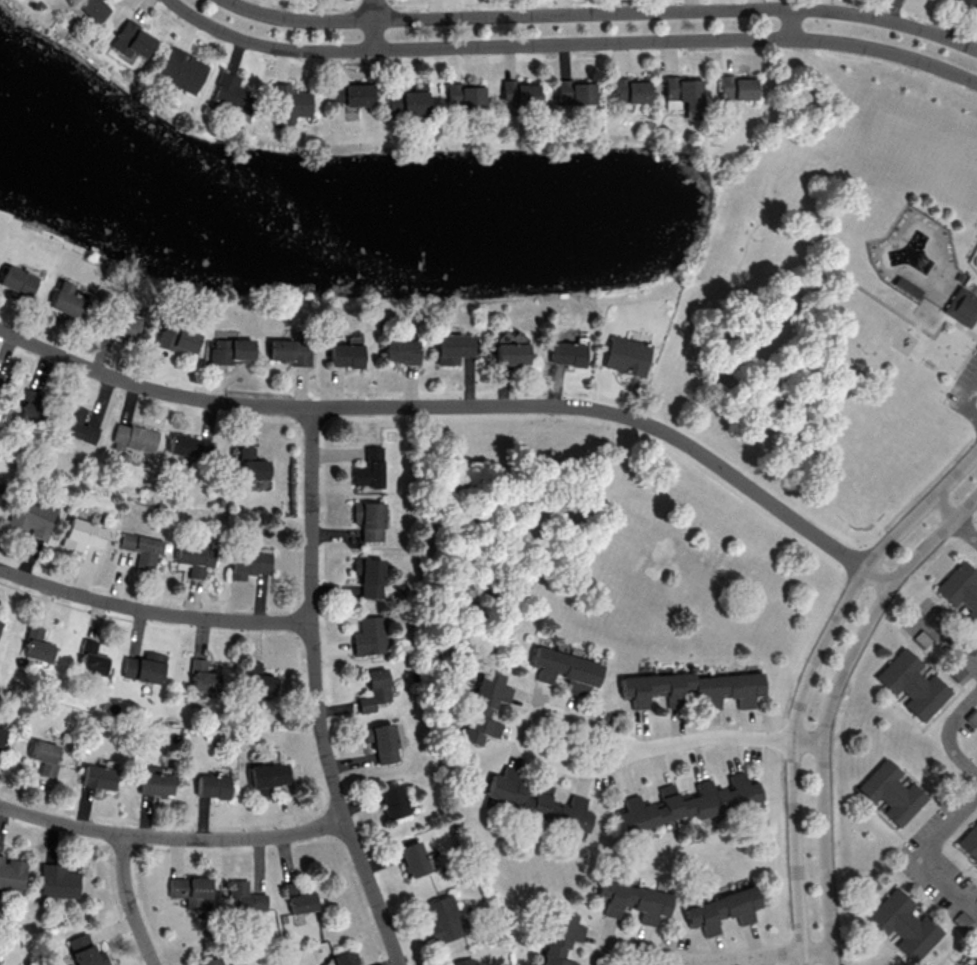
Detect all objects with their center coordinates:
building: (965, 4)
building: (93, 9)
road: (602, 12)
road: (791, 21)
road: (375, 24)
building: (132, 39)
road: (572, 42)
building: (181, 69)
building: (735, 87)
building: (629, 90)
building: (573, 91)
building: (683, 91)
building: (519, 93)
building: (231, 94)
building: (351, 94)
building: (464, 94)
building: (408, 100)
building: (290, 102)
building: (17, 282)
parking lot: (975, 286)
road: (705, 300)
building: (67, 302)
park: (839, 302)
building: (963, 310)
road: (914, 323)
building: (120, 325)
building: (176, 339)
building: (455, 347)
building: (402, 351)
building: (229, 352)
building: (289, 353)
building: (567, 353)
building: (511, 355)
building: (345, 356)
building: (626, 356)
building: (1, 375)
parking lot: (963, 388)
road: (969, 402)
road: (463, 406)
building: (30, 410)
building: (76, 425)
building: (133, 439)
building: (195, 448)
building: (252, 464)
building: (370, 468)
building: (0, 490)
park: (861, 490)
building: (33, 519)
building: (369, 520)
road: (954, 520)
building: (82, 536)
building: (141, 550)
building: (196, 558)
building: (249, 563)
building: (370, 575)
building: (960, 591)
road: (153, 610)
building: (0, 622)
building: (370, 635)
building: (37, 644)
road: (951, 646)
building: (144, 667)
building: (564, 668)
building: (204, 675)
building: (258, 679)
road: (807, 679)
building: (910, 685)
building: (699, 688)
building: (375, 690)
road: (315, 693)
road: (829, 704)
building: (485, 706)
building: (1, 734)
road: (952, 735)
road: (519, 736)
road: (725, 736)
building: (382, 741)
building: (0, 749)
building: (43, 757)
building: (99, 776)
building: (267, 777)
building: (154, 782)
building: (506, 785)
building: (212, 787)
building: (889, 793)
building: (720, 796)
building: (392, 800)
building: (560, 809)
building: (649, 809)
road: (171, 837)
building: (969, 843)
road: (923, 854)
building: (413, 858)
building: (12, 873)
building: (58, 881)
building: (188, 891)
building: (614, 896)
building: (299, 898)
road: (130, 901)
building: (651, 903)
building: (722, 910)
building: (442, 919)
building: (903, 925)
building: (561, 937)
road: (637, 943)
building: (84, 952)
road: (760, 955)
building: (972, 956)
building: (344, 958)
building: (211, 962)
building: (461, 962)
building: (957, 964)

